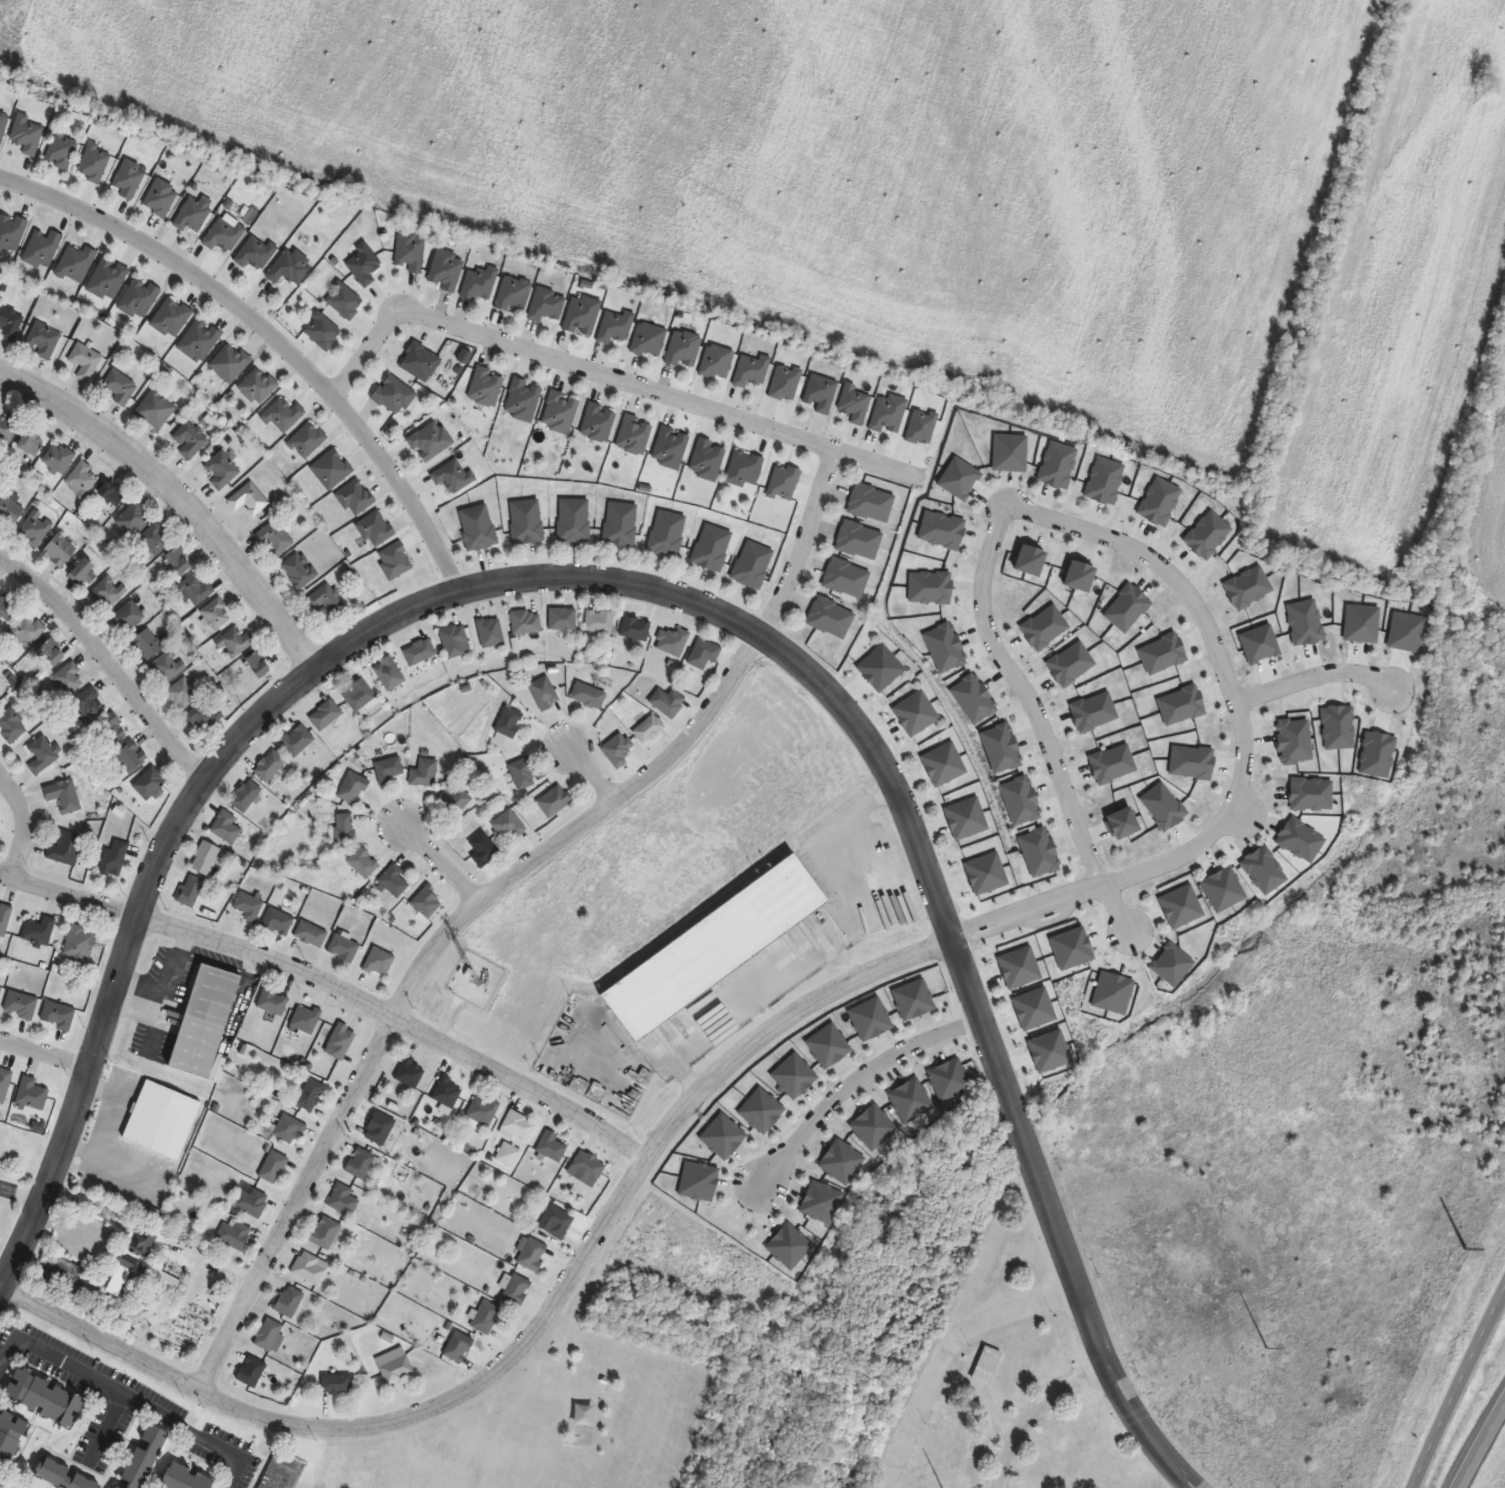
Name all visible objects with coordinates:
building: (3, 126)
building: (27, 135)
building: (62, 151)
building: (95, 164)
building: (161, 198)
building: (193, 214)
building: (11, 233)
building: (224, 235)
building: (43, 249)
building: (411, 251)
building: (256, 253)
building: (76, 264)
building: (364, 265)
building: (290, 268)
building: (446, 270)
building: (108, 280)
building: (480, 284)
building: (514, 295)
building: (139, 298)
building: (344, 301)
building: (547, 305)
building: (583, 315)
building: (171, 318)
building: (10, 324)
building: (322, 331)
road: (270, 335)
building: (44, 340)
building: (200, 341)
building: (86, 362)
building: (420, 362)
building: (717, 362)
building: (230, 363)
road: (606, 375)
building: (258, 387)
building: (486, 387)
building: (119, 388)
building: (395, 396)
building: (524, 401)
building: (156, 409)
building: (7, 430)
building: (190, 440)
building: (431, 441)
building: (31, 442)
building: (671, 448)
building: (59, 459)
building: (708, 460)
building: (745, 469)
building: (221, 470)
building: (453, 477)
building: (83, 480)
building: (784, 483)
building: (112, 493)
building: (249, 499)
road: (176, 502)
building: (871, 503)
building: (10, 512)
building: (133, 518)
building: (574, 520)
building: (527, 521)
building: (621, 524)
building: (478, 528)
building: (36, 530)
building: (667, 533)
building: (275, 538)
building: (156, 539)
building: (860, 540)
building: (712, 548)
building: (60, 551)
building: (179, 561)
building: (753, 565)
building: (299, 570)
building: (84, 573)
building: (847, 578)
building: (195, 589)
building: (107, 593)
road: (662, 594)
building: (326, 602)
building: (7, 610)
building: (216, 614)
building: (128, 617)
building: (831, 618)
building: (563, 619)
building: (600, 621)
building: (527, 622)
building: (635, 628)
building: (27, 631)
building: (491, 632)
building: (454, 640)
building: (673, 642)
building: (234, 643)
building: (146, 645)
building: (49, 652)
building: (420, 652)
building: (704, 655)
building: (258, 665)
road: (108, 666)
building: (167, 667)
building: (881, 669)
building: (389, 674)
road: (1314, 675)
building: (69, 679)
building: (0, 688)
building: (544, 693)
building: (183, 694)
road: (1018, 694)
building: (359, 695)
building: (589, 696)
building: (667, 702)
building: (90, 704)
building: (916, 714)
building: (326, 715)
building: (204, 717)
building: (510, 722)
building: (12, 726)
building: (649, 730)
building: (110, 732)
building: (297, 741)
road: (1250, 747)
building: (618, 750)
building: (43, 755)
building: (131, 757)
building: (944, 764)
building: (270, 766)
building: (388, 770)
building: (425, 773)
building: (524, 774)
road: (587, 775)
building: (150, 783)
building: (353, 789)
building: (64, 796)
building: (246, 796)
building: (454, 802)
building: (555, 802)
building: (966, 818)
building: (508, 826)
road: (20, 827)
building: (345, 827)
building: (226, 828)
road: (815, 842)
building: (65, 848)
building: (484, 849)
building: (115, 858)
building: (206, 858)
road: (432, 862)
building: (363, 863)
building: (394, 881)
building: (190, 891)
road: (485, 895)
building: (427, 903)
road: (1115, 911)
building: (5, 919)
building: (278, 922)
building: (40, 931)
building: (311, 935)
building: (80, 945)
building: (715, 948)
building: (344, 949)
building: (379, 962)
building: (1020, 968)
road: (791, 973)
building: (0, 990)
road: (331, 994)
building: (273, 1002)
building: (21, 1005)
building: (1035, 1009)
building: (58, 1015)
building: (305, 1020)
building: (205, 1022)
building: (341, 1041)
building: (1050, 1052)
road: (44, 1054)
building: (410, 1073)
road: (845, 1082)
building: (4, 1085)
building: (448, 1092)
building: (32, 1094)
building: (311, 1095)
building: (482, 1112)
building: (162, 1120)
building: (520, 1126)
building: (380, 1128)
building: (289, 1129)
building: (552, 1147)
building: (361, 1164)
building: (589, 1165)
building: (274, 1167)
road: (18, 1195)
building: (344, 1200)
building: (252, 1203)
building: (557, 1222)
building: (326, 1233)
building: (235, 1234)
building: (531, 1254)
building: (128, 1264)
building: (310, 1268)
building: (162, 1280)
building: (516, 1290)
building: (289, 1302)
building: (485, 1317)
building: (271, 1335)
road: (530, 1337)
building: (459, 1347)
power tower: (1267, 1350)
road: (943, 1352)
building: (395, 1366)
building: (986, 1366)
building: (252, 1372)
building: (337, 1384)
road: (1457, 1389)
road: (127, 1395)
building: (46, 1398)
road: (1030, 1411)
building: (584, 1415)
road: (107, 1426)
building: (10, 1441)
road: (1480, 1446)
building: (144, 1457)
building: (63, 1476)
building: (186, 1479)
building: (118, 1487)

